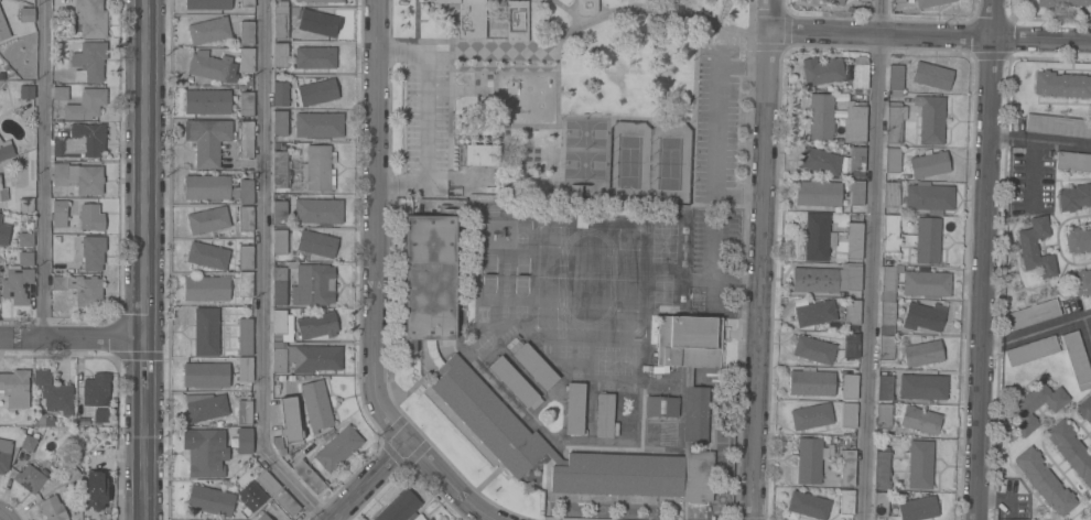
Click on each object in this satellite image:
building: (318, 0)
building: (865, 0)
building: (898, 0)
building: (835, 1)
building: (929, 2)
building: (1062, 2)
building: (247, 3)
building: (208, 4)
building: (586, 7)
building: (26, 14)
building: (469, 18)
building: (90, 19)
building: (517, 21)
building: (281, 22)
building: (317, 22)
building: (3, 28)
building: (208, 30)
building: (247, 33)
road: (929, 35)
building: (280, 55)
building: (315, 57)
building: (247, 59)
building: (89, 61)
building: (213, 67)
building: (821, 71)
building: (932, 75)
building: (860, 76)
building: (895, 76)
building: (1, 80)
building: (1061, 84)
building: (26, 91)
building: (317, 91)
building: (61, 93)
building: (280, 93)
park: (583, 93)
building: (207, 101)
building: (86, 104)
building: (246, 104)
building: (820, 116)
road: (429, 117)
building: (930, 119)
building: (895, 121)
building: (280, 122)
building: (854, 122)
building: (318, 124)
building: (1058, 124)
road: (714, 128)
park: (586, 133)
building: (207, 139)
building: (246, 139)
road: (1040, 139)
building: (82, 141)
building: (6, 149)
building: (482, 154)
building: (856, 158)
building: (893, 160)
building: (820, 161)
building: (1072, 161)
park: (628, 162)
park: (669, 163)
building: (930, 164)
park: (585, 165)
road: (43, 167)
road: (142, 167)
building: (318, 167)
building: (280, 169)
road: (1031, 173)
building: (79, 177)
building: (207, 187)
building: (246, 192)
building: (855, 192)
building: (2, 193)
building: (818, 193)
building: (892, 194)
building: (929, 196)
building: (1074, 196)
building: (25, 204)
building: (855, 209)
building: (318, 210)
building: (279, 213)
building: (60, 214)
building: (0, 216)
building: (91, 217)
building: (246, 218)
building: (208, 219)
road: (377, 223)
building: (890, 232)
building: (4, 234)
building: (818, 236)
building: (25, 239)
building: (1078, 239)
building: (854, 240)
building: (928, 240)
building: (279, 241)
building: (316, 242)
building: (1036, 248)
building: (93, 251)
building: (208, 256)
building: (246, 258)
road: (759, 259)
road: (871, 260)
road: (986, 260)
road: (263, 271)
building: (853, 277)
building: (19, 279)
building: (814, 279)
building: (1082, 282)
building: (313, 283)
building: (888, 283)
building: (927, 283)
building: (246, 284)
building: (279, 285)
building: (82, 288)
building: (206, 288)
building: (815, 312)
building: (852, 312)
building: (1034, 313)
building: (923, 316)
building: (887, 317)
building: (317, 324)
road: (1088, 325)
road: (1036, 329)
building: (206, 331)
road: (71, 336)
building: (245, 336)
building: (689, 340)
building: (512, 344)
building: (851, 345)
building: (886, 346)
building: (813, 349)
building: (1031, 350)
building: (922, 353)
building: (279, 356)
building: (313, 357)
building: (1077, 359)
building: (453, 360)
road: (141, 361)
building: (536, 366)
building: (245, 369)
building: (206, 373)
building: (514, 381)
building: (812, 382)
building: (850, 386)
building: (922, 386)
building: (15, 387)
building: (884, 387)
building: (97, 389)
building: (53, 392)
building: (316, 404)
building: (661, 405)
building: (1036, 405)
building: (207, 408)
building: (575, 408)
building: (1085, 409)
building: (245, 411)
building: (695, 413)
building: (605, 414)
building: (101, 415)
building: (624, 415)
building: (812, 415)
building: (849, 415)
building: (884, 415)
building: (290, 419)
building: (921, 420)
building: (50, 433)
building: (245, 440)
building: (29, 443)
building: (338, 447)
building: (205, 449)
building: (1071, 449)
building: (4, 454)
road: (141, 454)
building: (88, 458)
building: (58, 461)
building: (809, 461)
building: (919, 463)
building: (847, 467)
building: (881, 468)
building: (71, 473)
building: (307, 476)
building: (30, 478)
road: (366, 479)
building: (1045, 480)
building: (268, 481)
road: (447, 481)
building: (96, 491)
building: (250, 496)
building: (210, 499)
building: (846, 501)
road: (996, 501)
building: (287, 502)
building: (879, 503)
building: (808, 505)
building: (399, 506)
building: (53, 508)
building: (918, 508)
road: (2, 514)
building: (262, 517)
road: (7, 518)
building: (96, 519)
building: (429, 519)
building: (431, 519)

